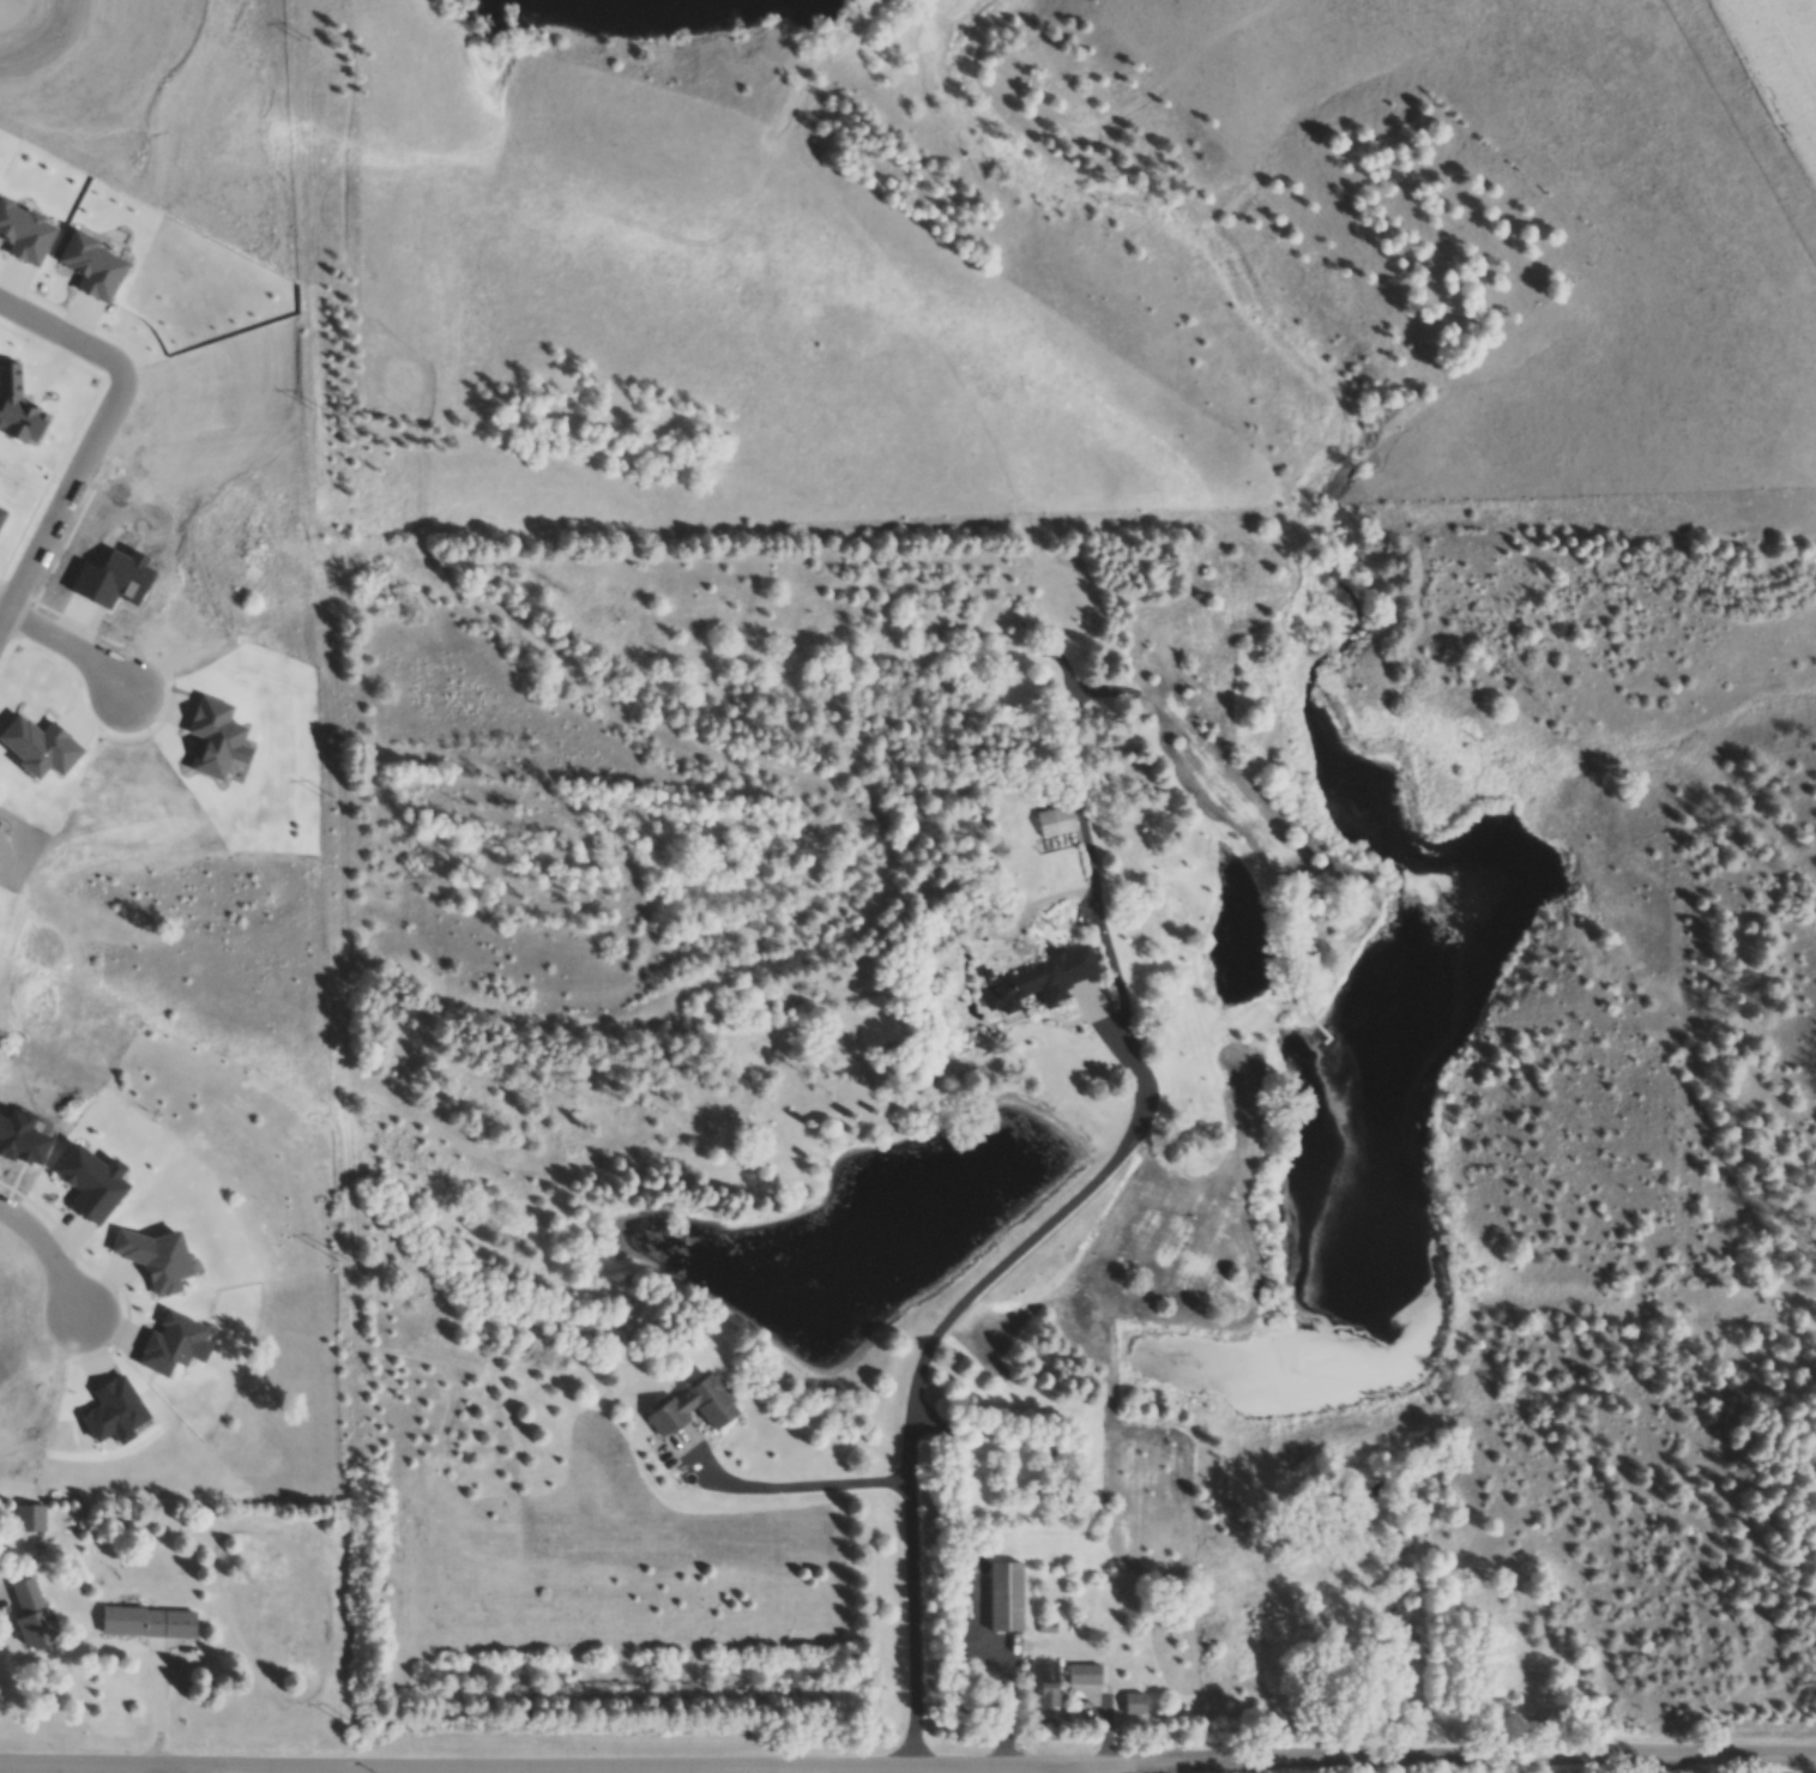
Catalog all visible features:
power tower: (304, 42)
crop: (1776, 72)
building: (24, 233)
building: (91, 265)
road: (62, 350)
building: (18, 405)
power tower: (316, 410)
road: (56, 505)
building: (1, 513)
building: (111, 580)
road: (0, 611)
road: (0, 613)
road: (67, 646)
building: (216, 742)
building: (40, 747)
power tower: (328, 798)
building: (22, 1133)
building: (91, 1183)
building: (155, 1258)
road: (44, 1260)
power tower: (343, 1262)
building: (173, 1343)
road: (916, 1379)
building: (114, 1407)
building: (684, 1416)
road: (791, 1488)
building: (29, 1518)
building: (1000, 1604)
building: (29, 1620)
building: (140, 1623)
building: (1034, 1681)
building: (1075, 1681)
power tower: (357, 1729)
road: (1483, 1763)
road: (181, 1771)
road: (574, 1771)
road: (1081, 1771)

